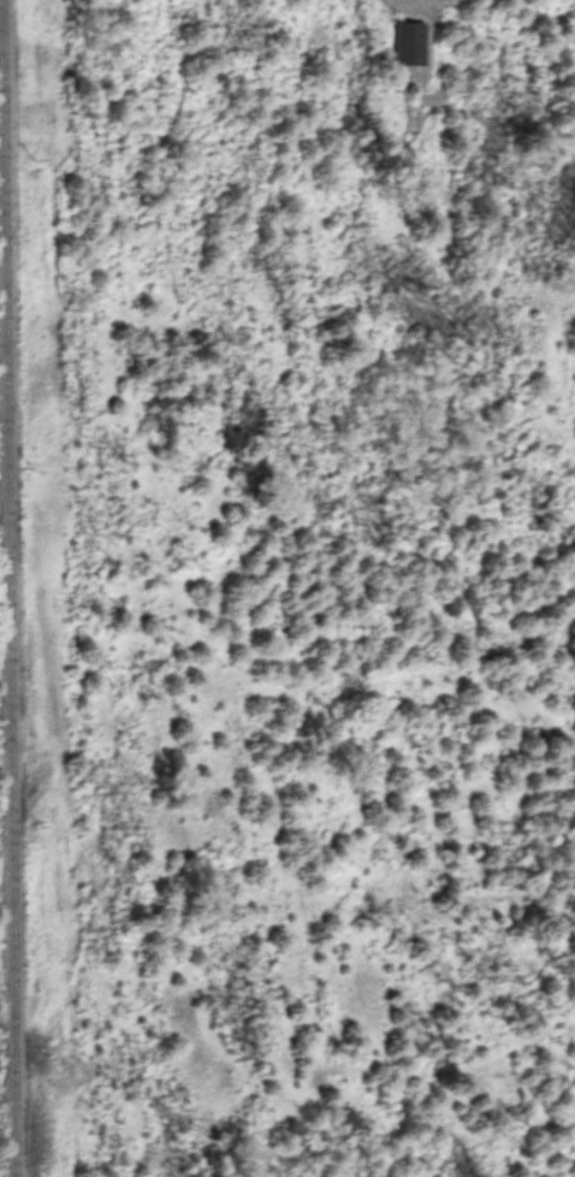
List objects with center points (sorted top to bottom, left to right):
building: (408, 39)
railway: (6, 588)

